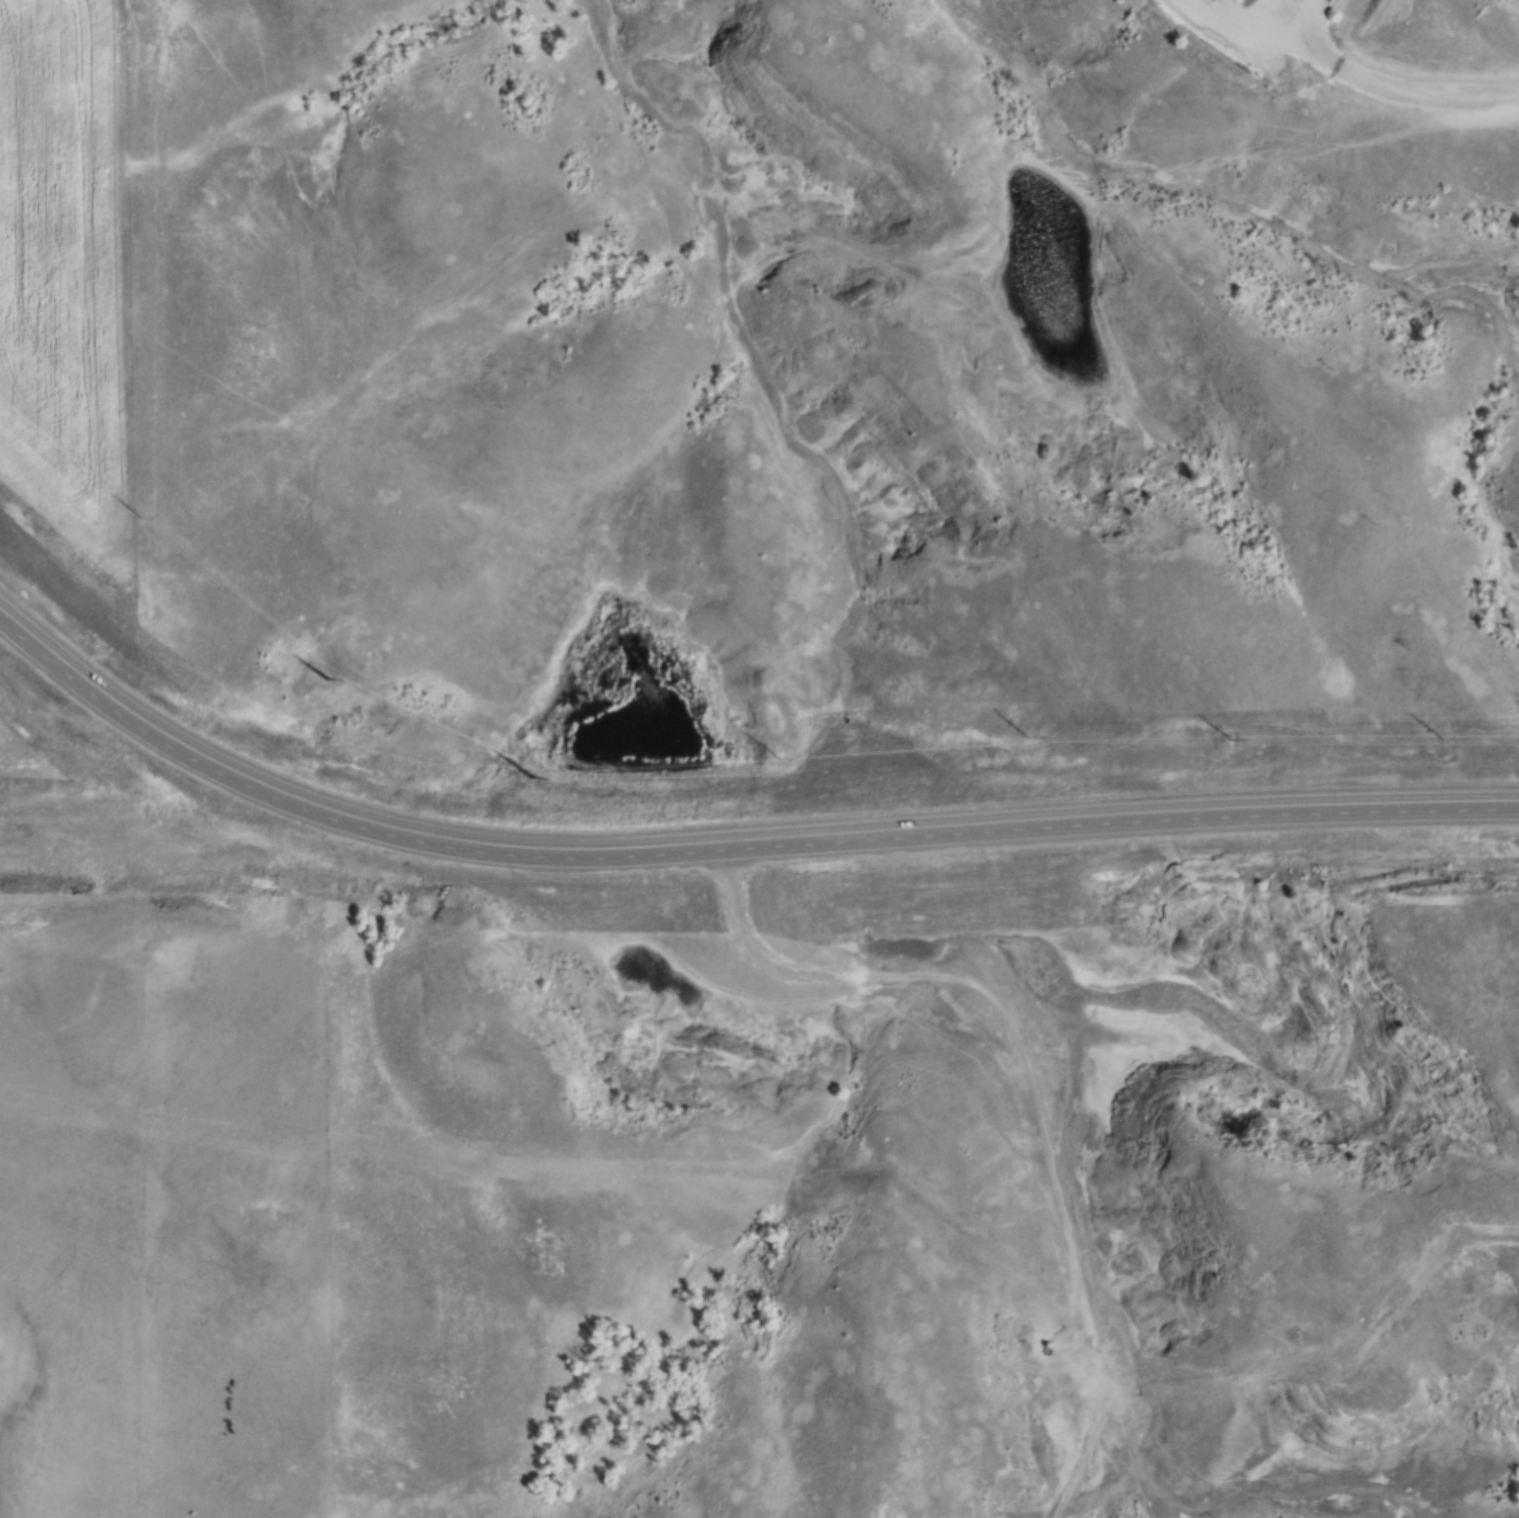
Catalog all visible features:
road: (1305, 15)
road: (1250, 22)
road: (1405, 82)
road: (150, 732)
road: (918, 835)
road: (1030, 1081)
road: (1123, 1465)

